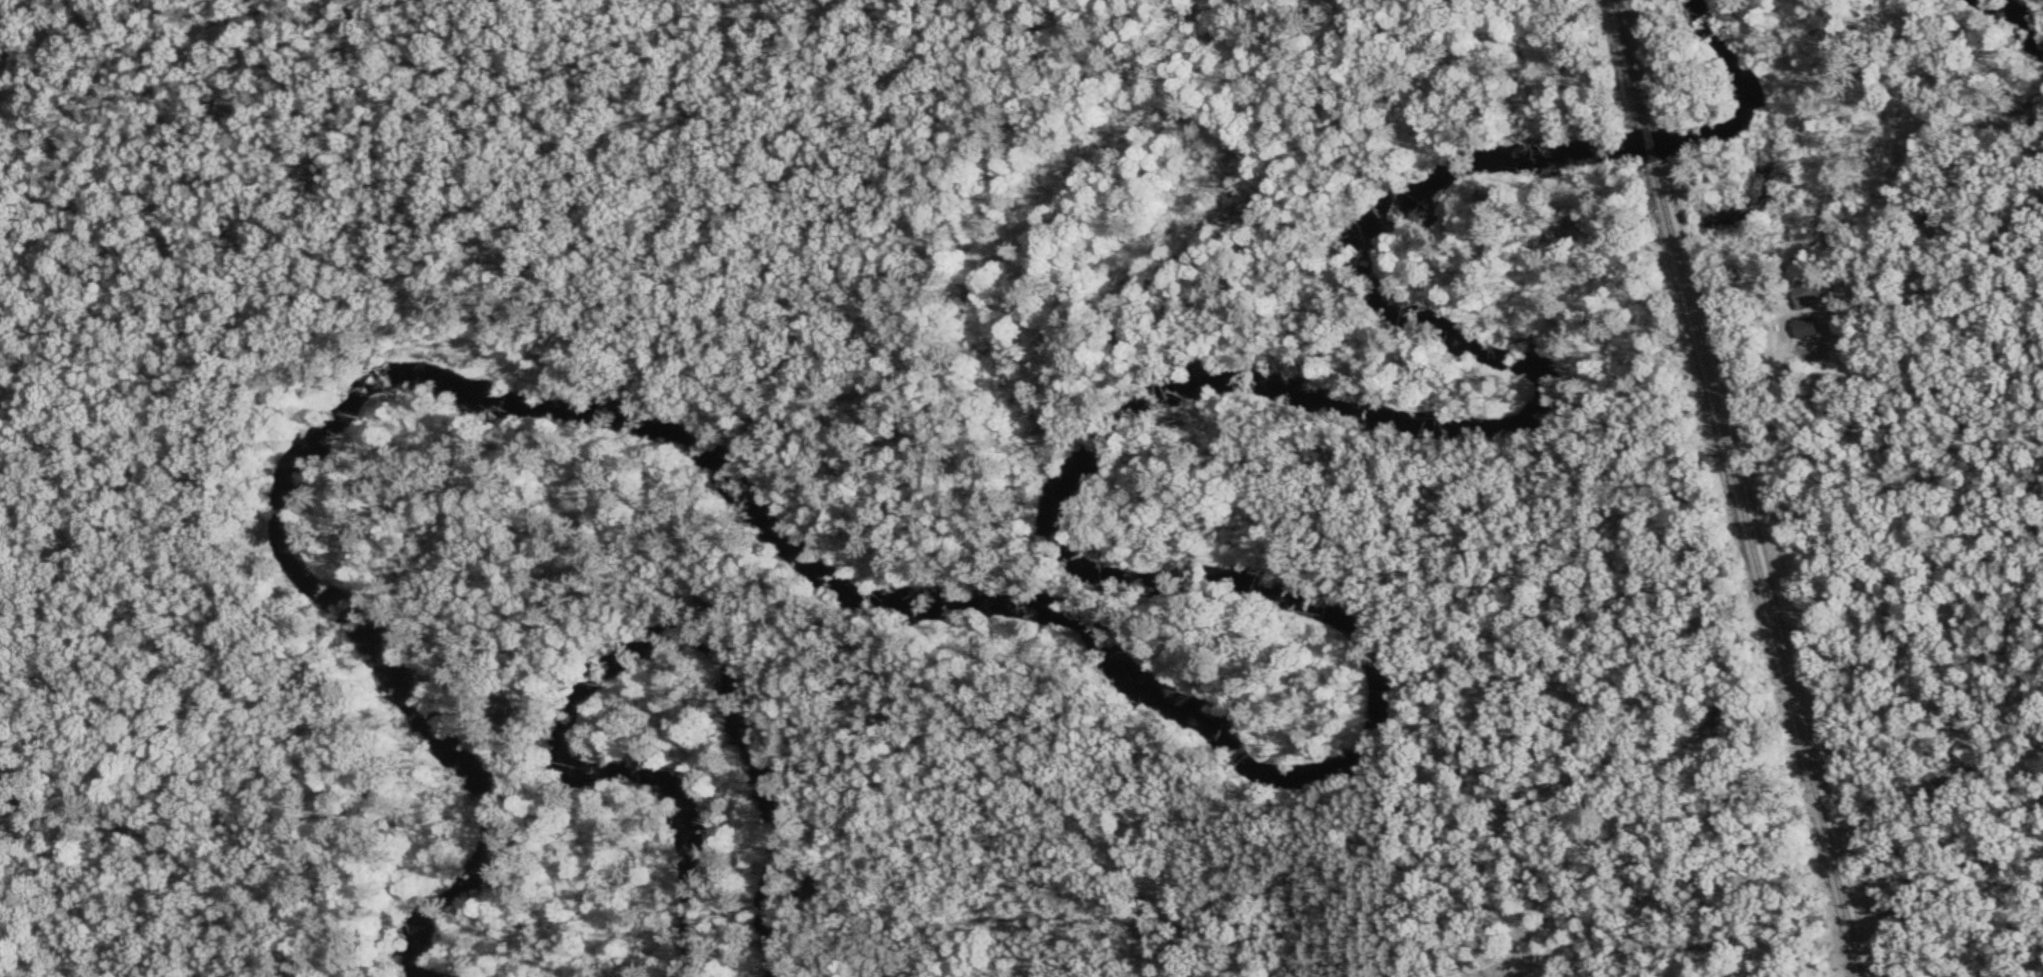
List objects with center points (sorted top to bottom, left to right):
river: (2022, 26)
railway: (1628, 63)
railway: (1648, 144)
railway: (1756, 569)
river: (619, 661)
road: (837, 664)
river: (1366, 744)

